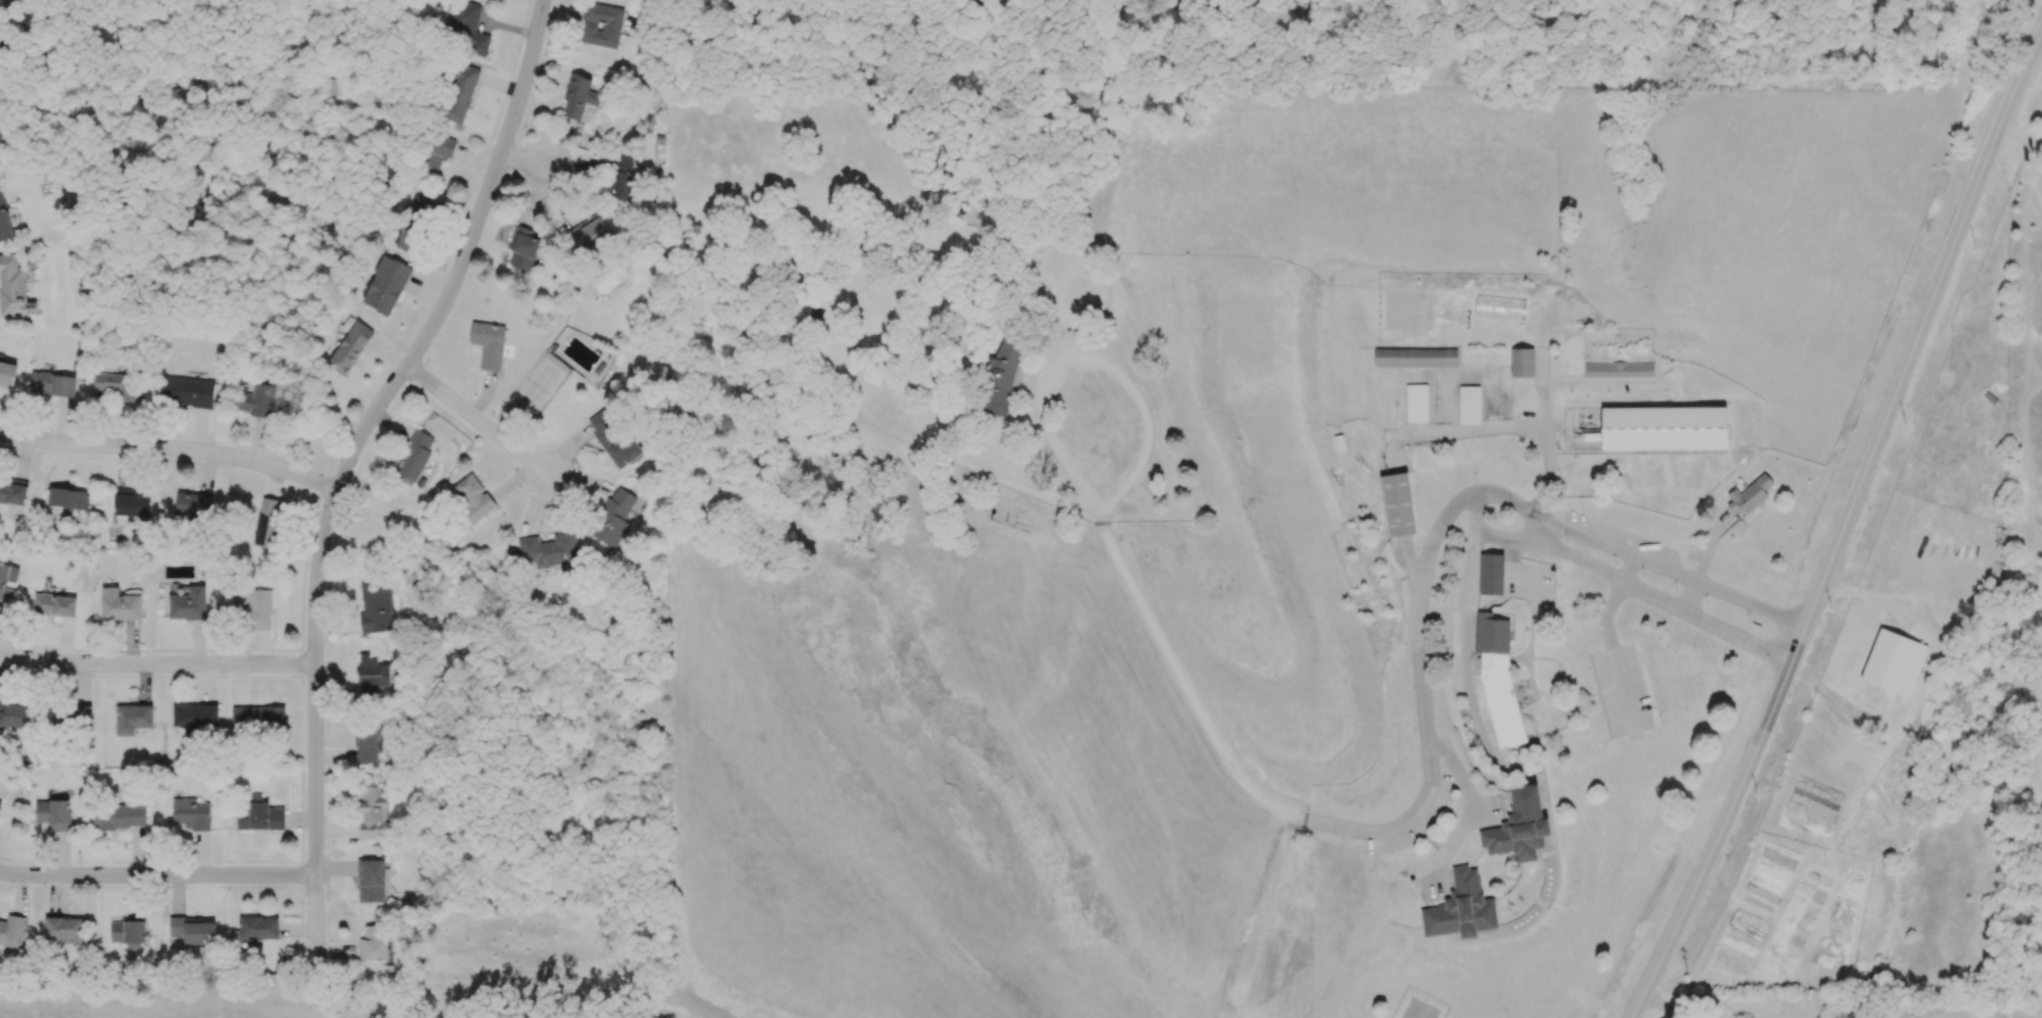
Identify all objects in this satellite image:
building: (601, 24)
building: (466, 28)
building: (460, 93)
building: (578, 95)
building: (0, 132)
building: (437, 151)
road: (527, 163)
building: (622, 176)
building: (4, 220)
building: (415, 220)
building: (523, 247)
building: (385, 285)
building: (13, 289)
crop: (1425, 307)
building: (488, 344)
building: (350, 348)
building: (1417, 356)
building: (1524, 361)
building: (1619, 368)
building: (7, 374)
building: (1000, 378)
building: (52, 383)
building: (116, 386)
building: (187, 391)
building: (256, 400)
building: (1416, 402)
building: (1470, 404)
road: (478, 419)
building: (1664, 429)
building: (613, 440)
building: (1340, 441)
road: (171, 448)
building: (414, 458)
road: (346, 467)
building: (13, 491)
building: (1750, 494)
building: (67, 498)
building: (472, 498)
building: (130, 503)
building: (1397, 503)
building: (193, 505)
road: (1092, 507)
building: (613, 518)
building: (268, 523)
road: (1842, 528)
road: (1510, 534)
building: (550, 550)
road: (1510, 561)
road: (1670, 569)
building: (1492, 573)
building: (4, 586)
road: (1658, 594)
building: (188, 604)
building: (54, 605)
building: (119, 605)
building: (376, 608)
building: (259, 609)
road: (1608, 640)
road: (1465, 645)
building: (1894, 662)
road: (157, 663)
road: (1418, 669)
road: (151, 675)
building: (374, 677)
building: (1498, 681)
building: (12, 714)
building: (72, 716)
building: (196, 717)
building: (258, 717)
building: (132, 719)
building: (368, 743)
building: (0, 801)
road: (1467, 804)
building: (371, 811)
building: (53, 814)
building: (191, 814)
building: (259, 816)
building: (119, 817)
building: (1518, 827)
road: (242, 861)
road: (157, 874)
building: (372, 881)
building: (1460, 908)
building: (258, 928)
building: (63, 930)
building: (193, 930)
building: (11, 931)
building: (128, 932)
building: (376, 943)
building: (1702, 1015)

